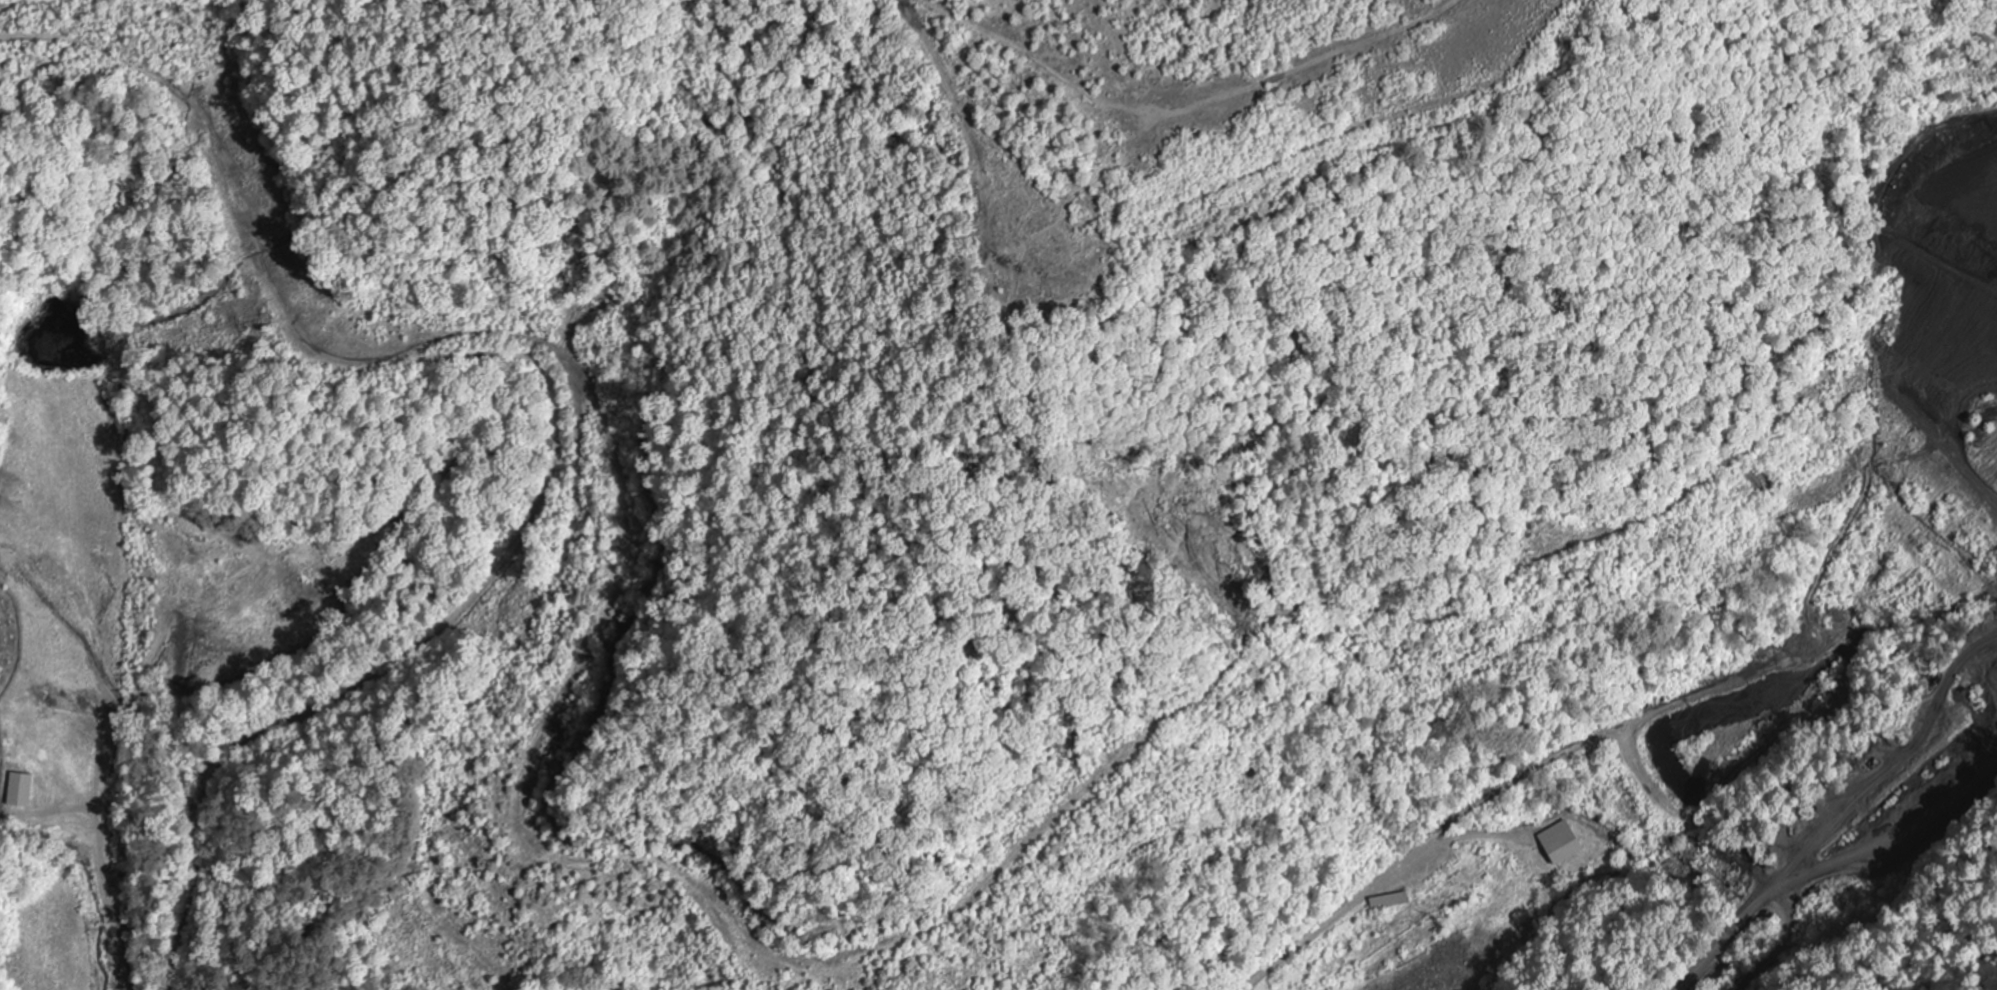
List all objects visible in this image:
road: (1144, 255)
road: (493, 508)
building: (19, 789)
road: (116, 841)
building: (1560, 843)
building: (1389, 901)
road: (1528, 923)

